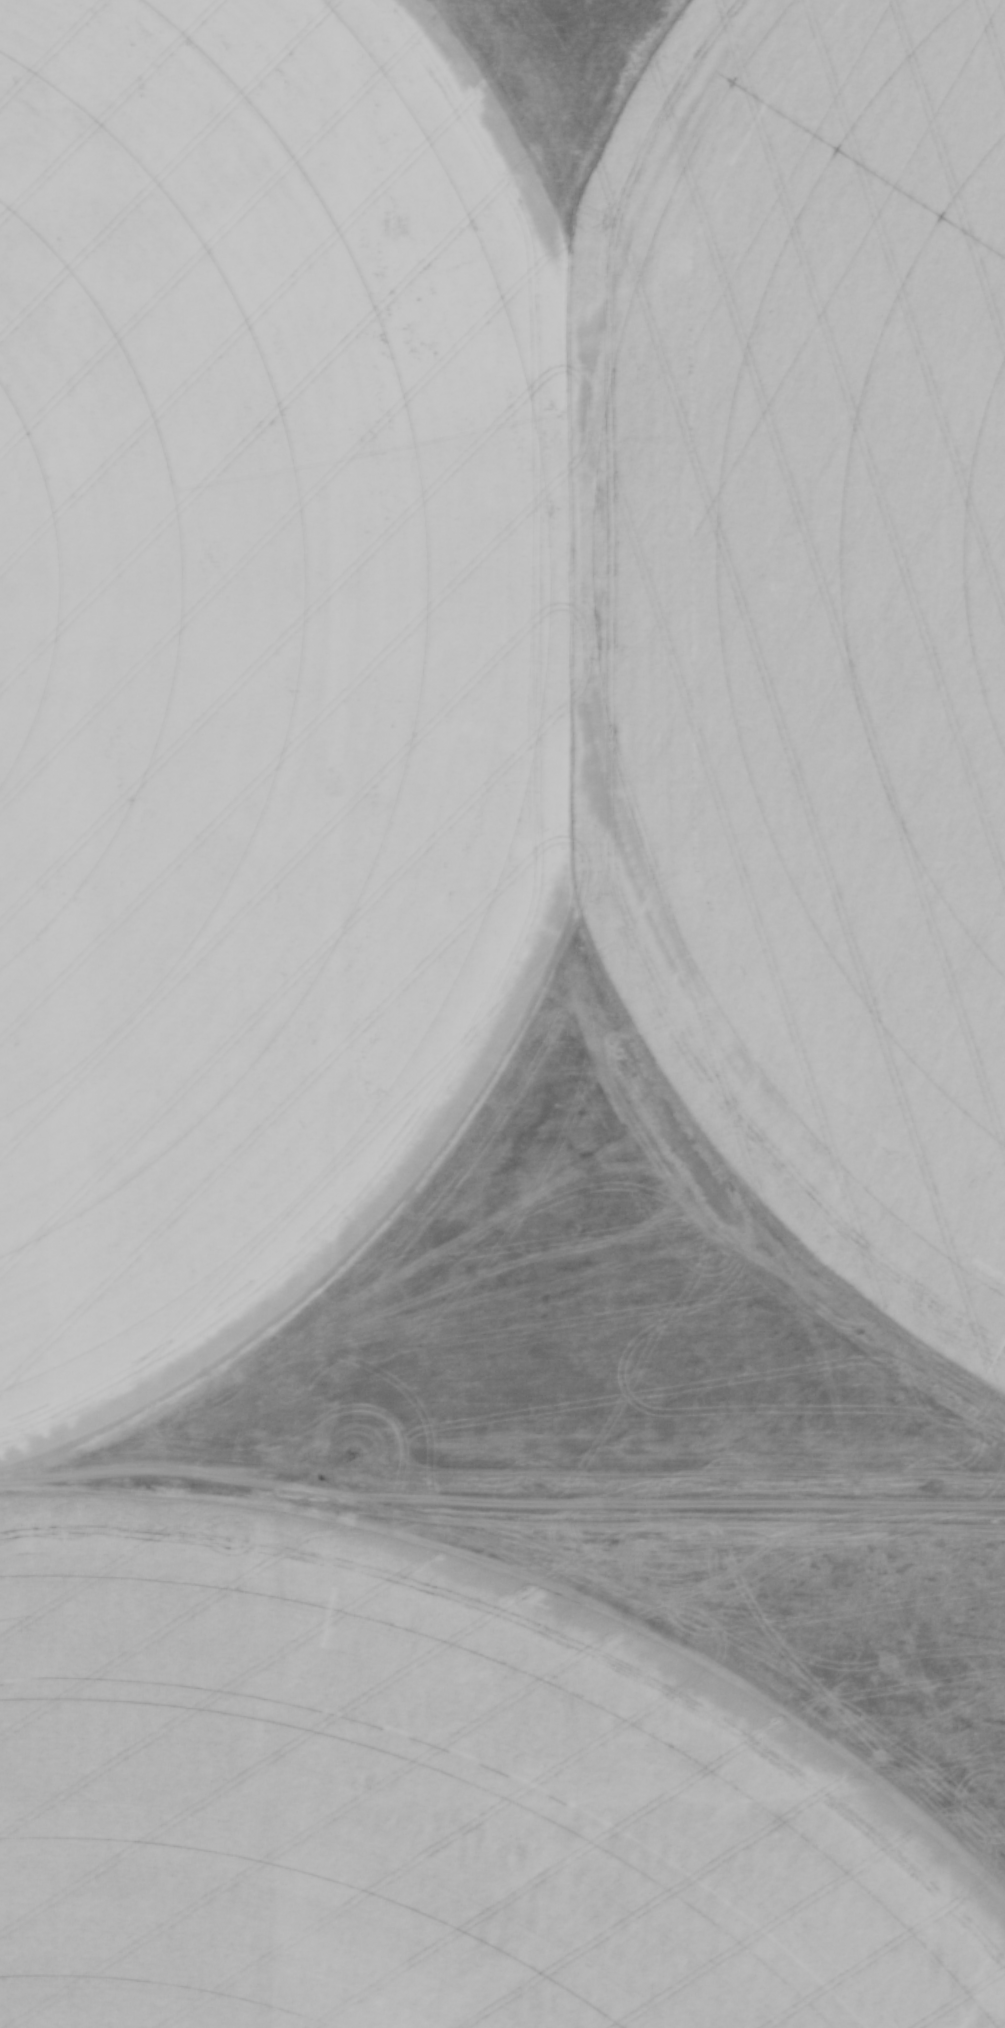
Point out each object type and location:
road: (501, 1495)

